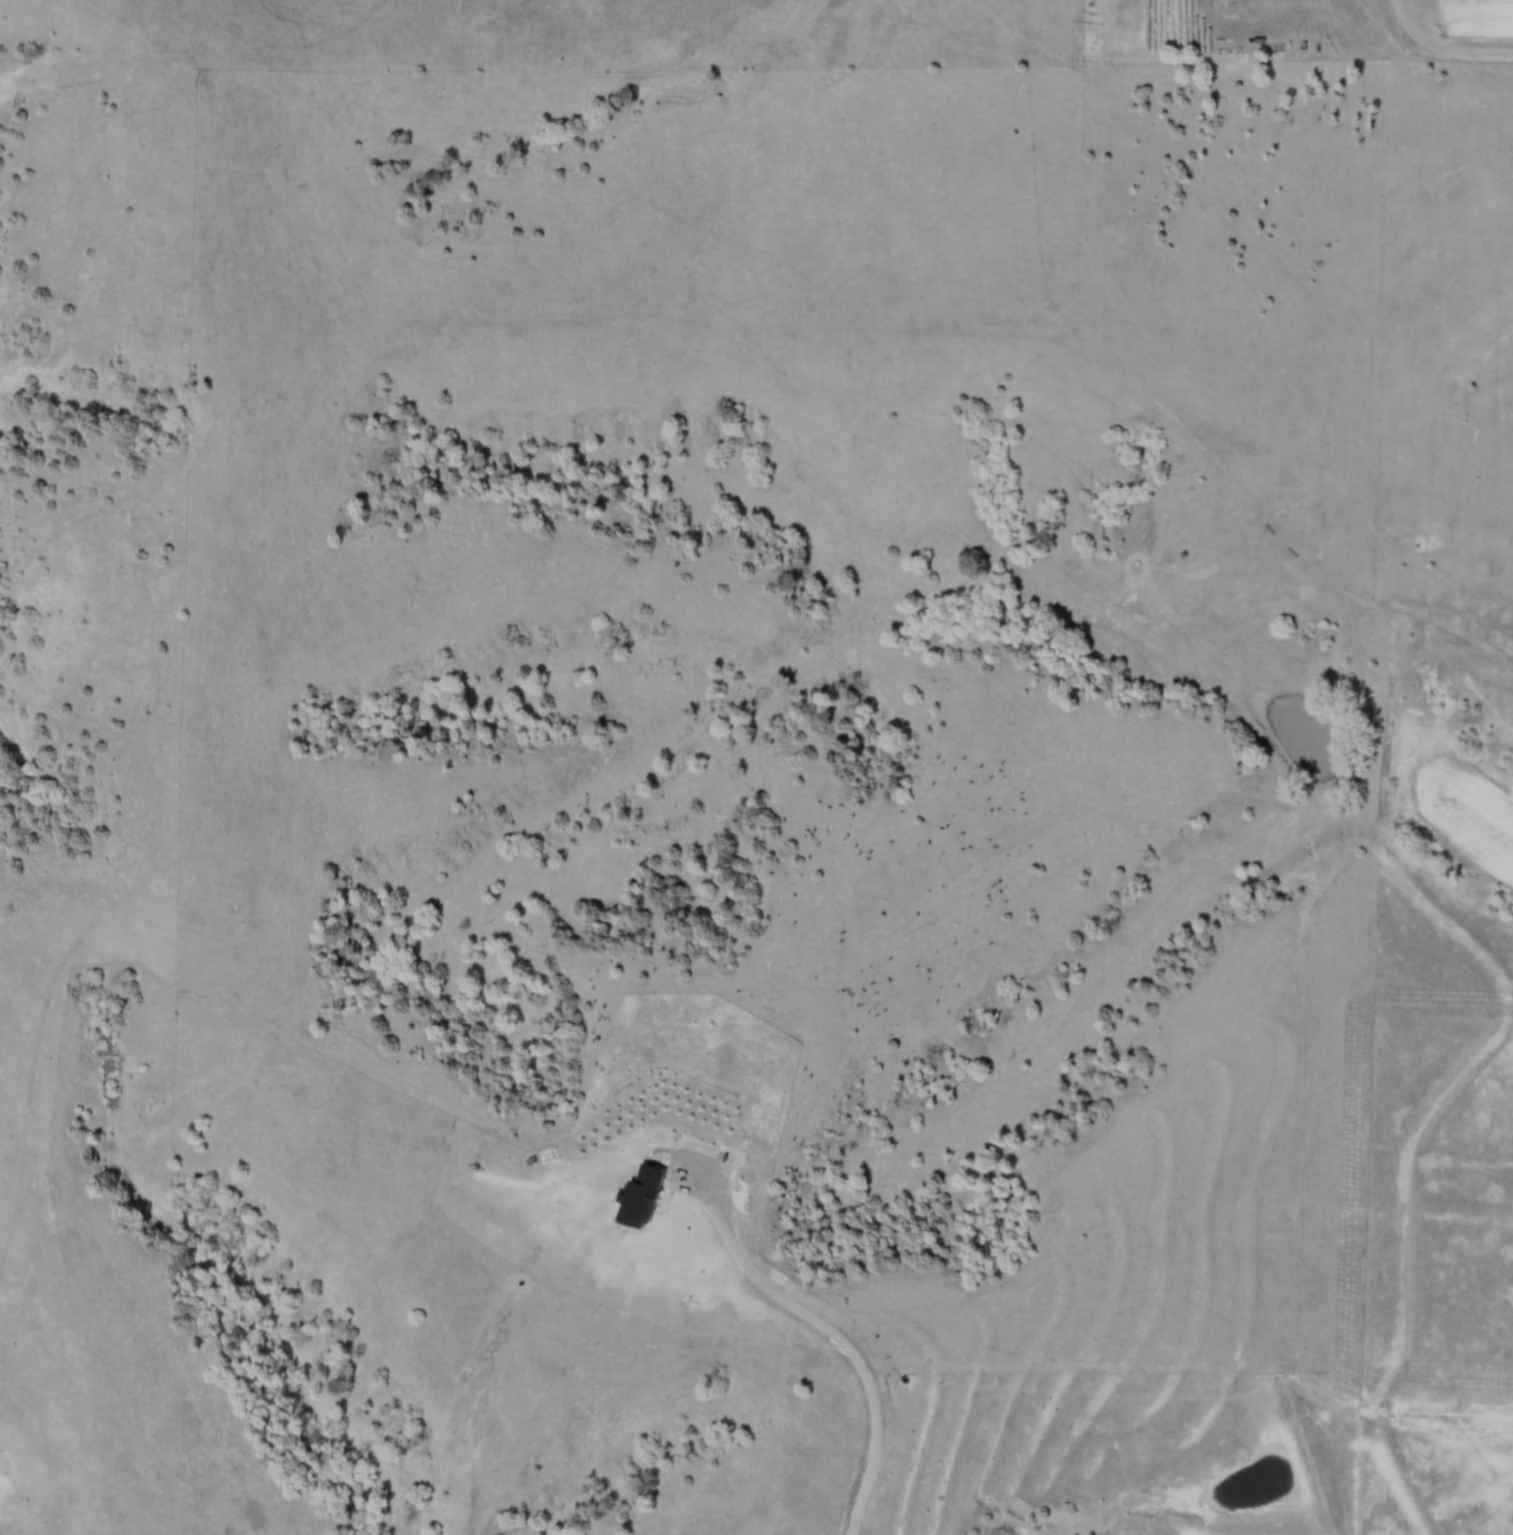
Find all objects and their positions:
road: (1445, 47)

